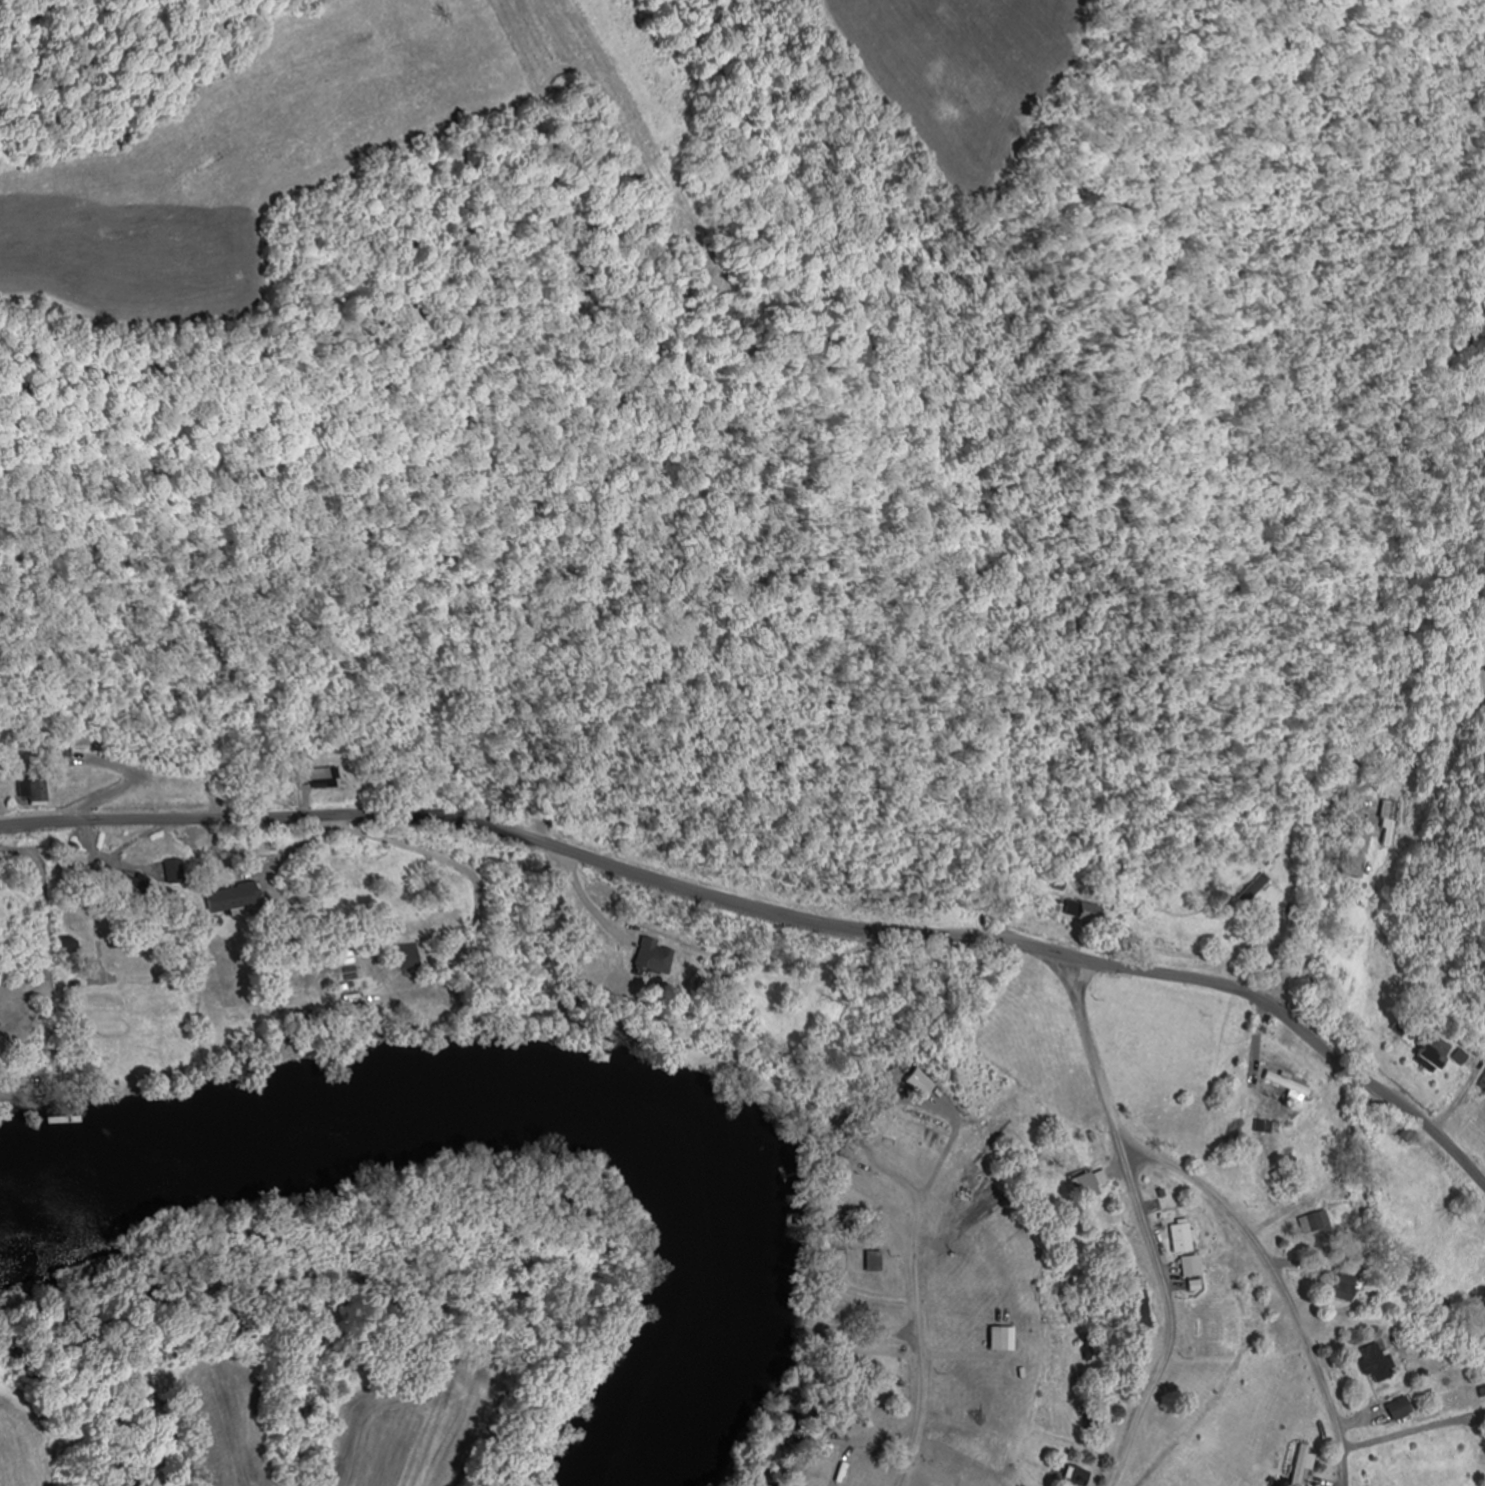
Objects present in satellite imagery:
road: (1400, 620)
building: (325, 777)
building: (38, 791)
building: (1390, 823)
building: (1364, 854)
building: (180, 871)
building: (1257, 888)
building: (145, 890)
building: (238, 898)
road: (771, 907)
building: (1091, 913)
building: (75, 941)
building: (659, 956)
building: (413, 958)
building: (363, 969)
building: (1440, 1052)
building: (1297, 1089)
building: (1263, 1126)
building: (1093, 1184)
building: (1286, 1184)
road: (1148, 1220)
building: (1309, 1224)
building: (1186, 1236)
building: (876, 1261)
building: (1196, 1266)
road: (1283, 1283)
building: (1346, 1286)
building: (1147, 1309)
building: (1002, 1337)
building: (1378, 1362)
road: (923, 1385)
building: (1403, 1407)
building: (1081, 1475)

